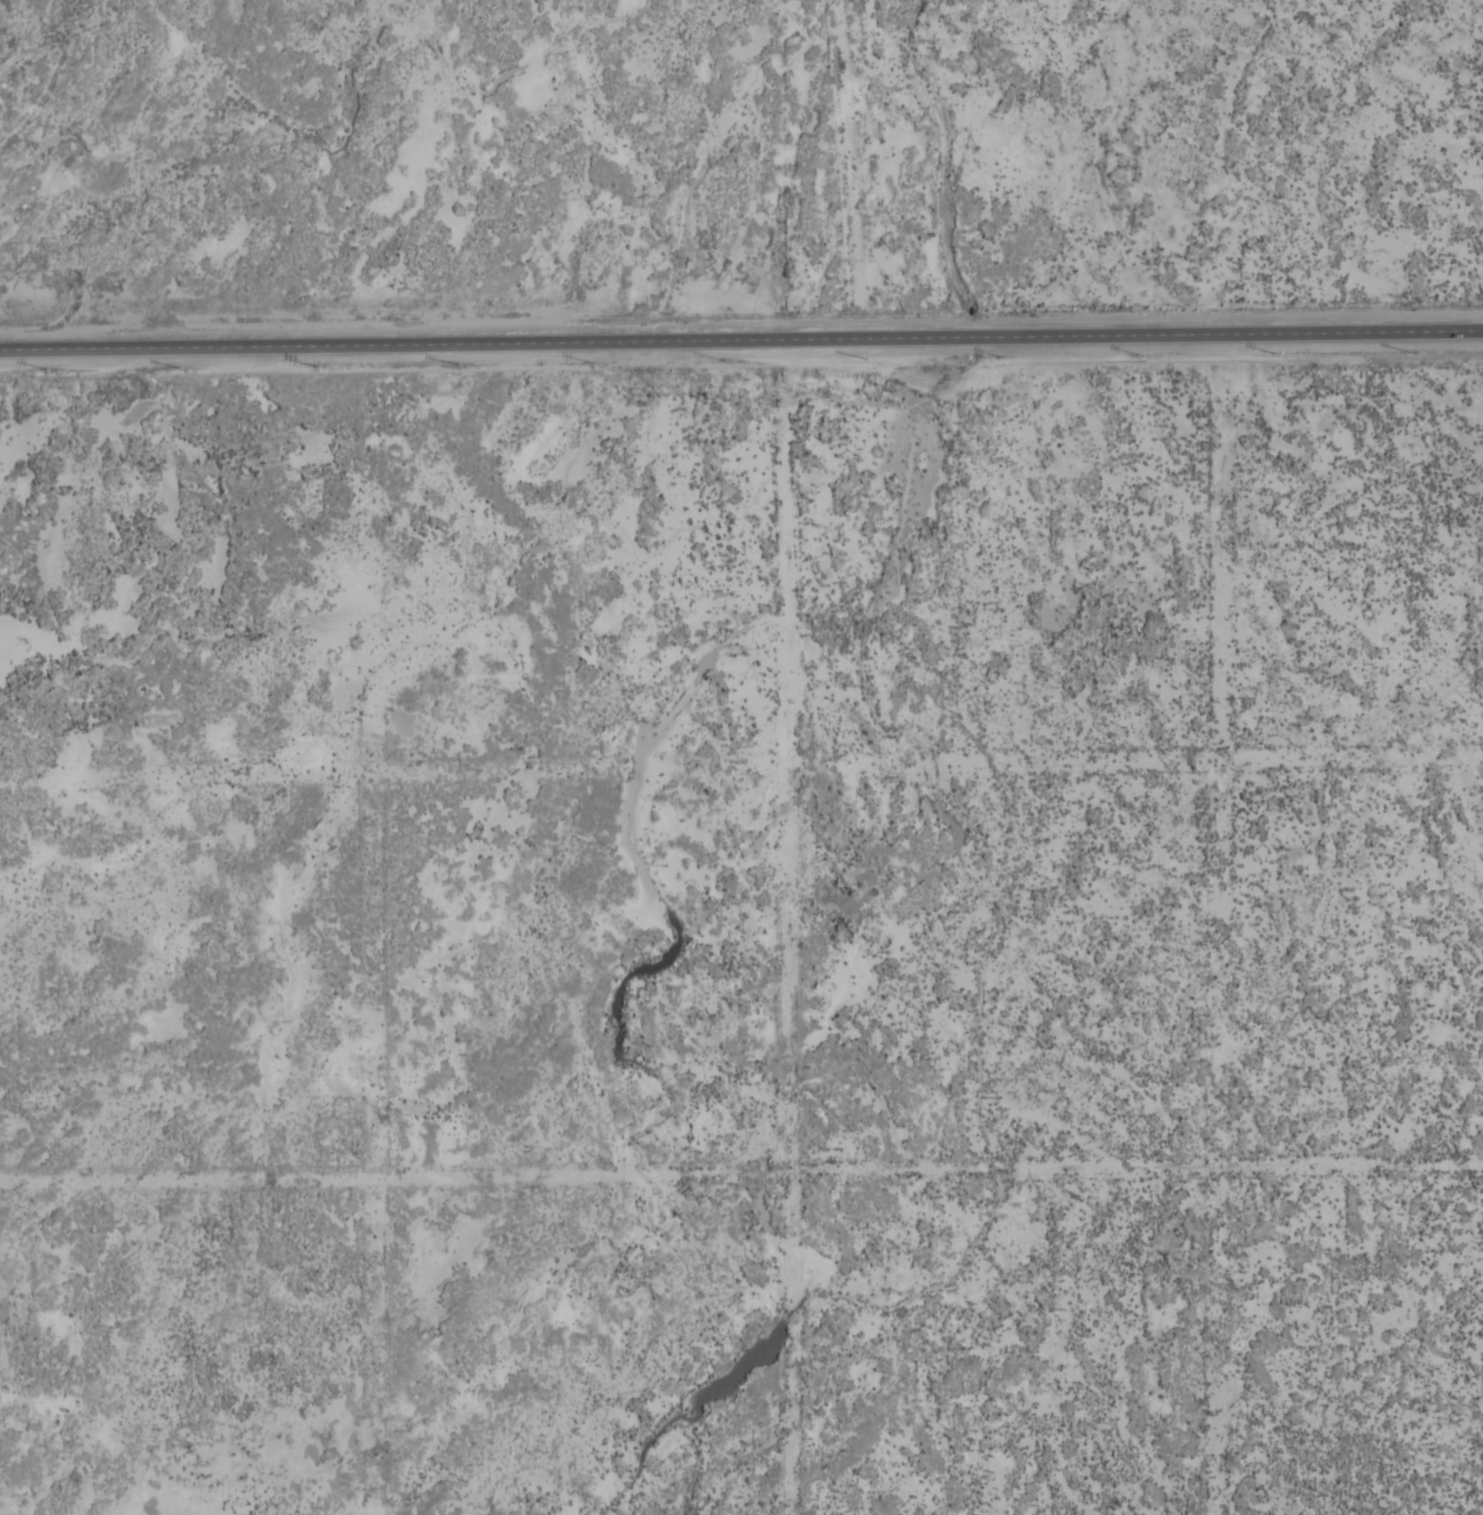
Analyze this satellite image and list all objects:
road: (741, 342)

